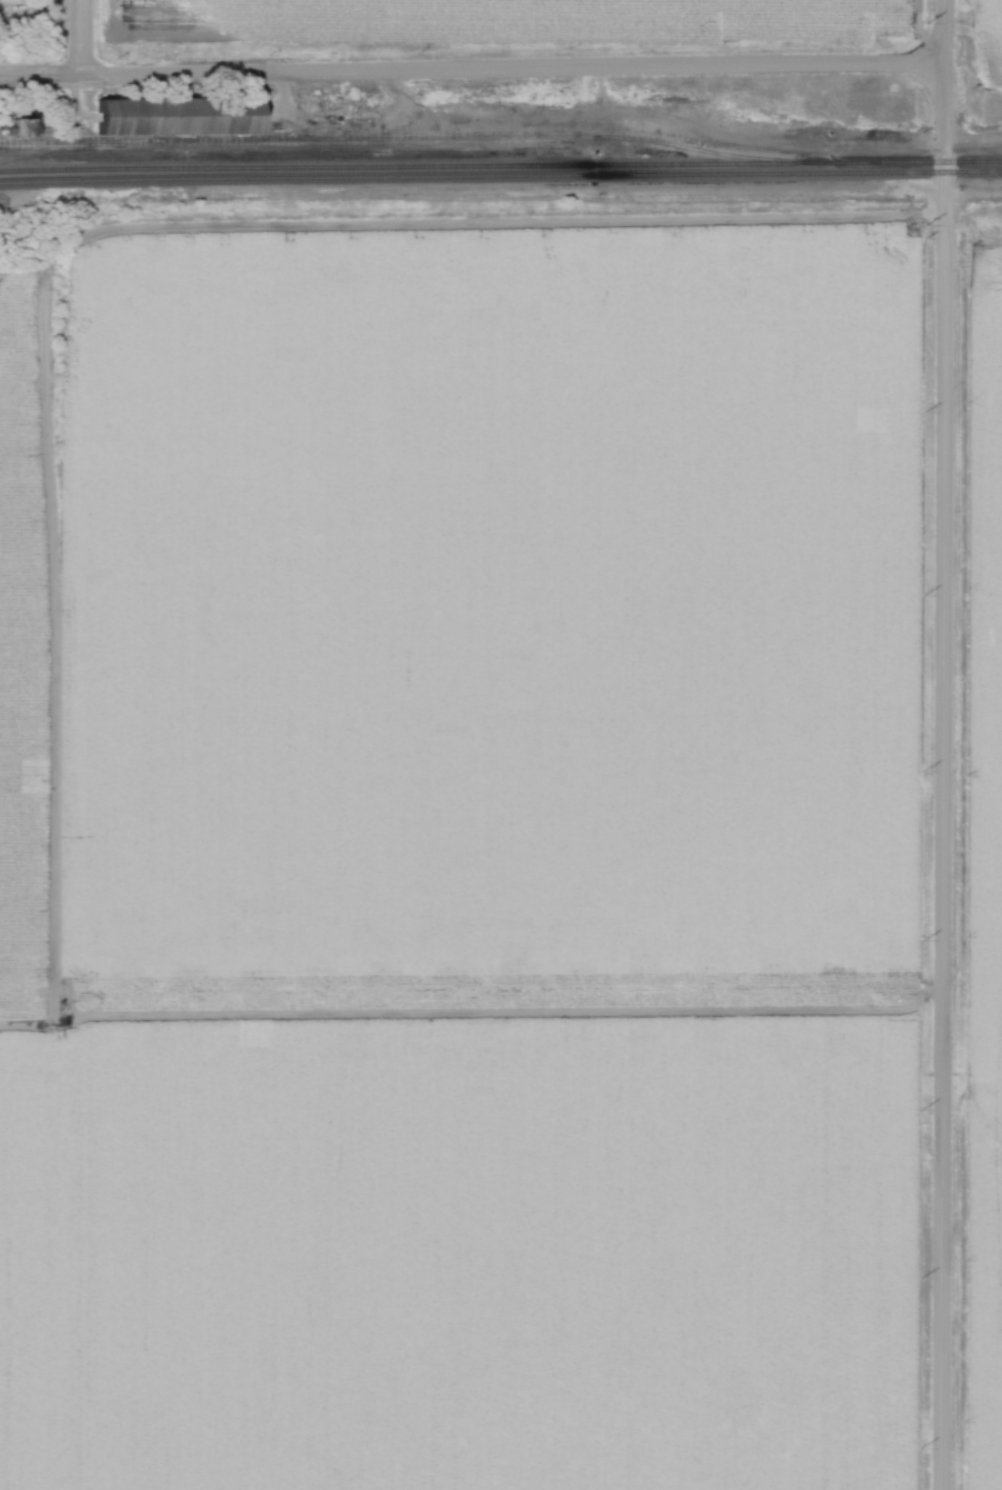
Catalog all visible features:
road: (83, 39)
road: (473, 69)
building: (24, 127)
railway: (415, 138)
railway: (500, 168)
railway: (500, 182)
crop: (488, 602)
crop: (28, 618)
road: (944, 744)
crop: (460, 1252)

